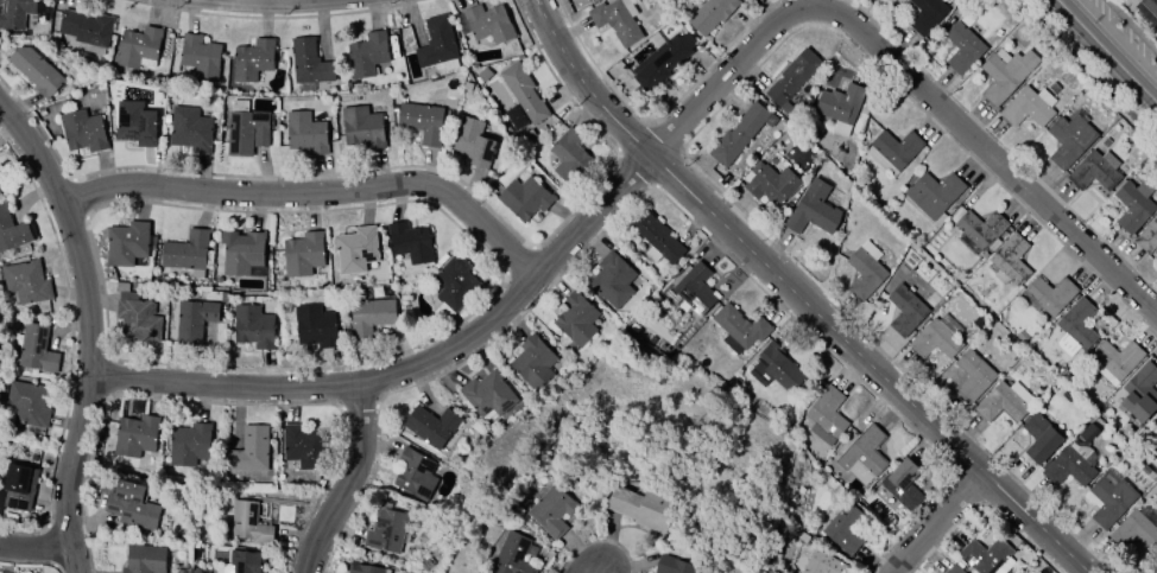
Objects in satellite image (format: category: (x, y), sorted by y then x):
building: (1147, 8)
building: (14, 13)
building: (710, 14)
building: (925, 14)
building: (617, 20)
building: (486, 23)
building: (86, 30)
building: (437, 45)
building: (135, 46)
road: (1111, 46)
building: (962, 47)
building: (367, 53)
building: (197, 58)
building: (252, 61)
building: (662, 61)
building: (308, 63)
building: (36, 71)
building: (1004, 74)
building: (792, 78)
building: (523, 93)
building: (840, 107)
building: (1028, 107)
building: (422, 121)
building: (135, 123)
building: (361, 127)
building: (190, 129)
building: (82, 130)
building: (247, 132)
building: (304, 133)
building: (738, 134)
building: (1069, 140)
building: (473, 144)
building: (892, 151)
building: (568, 157)
road: (997, 164)
building: (1094, 171)
building: (771, 183)
road: (317, 190)
building: (932, 193)
building: (524, 198)
building: (1132, 205)
building: (813, 209)
building: (979, 228)
building: (12, 231)
building: (1147, 236)
building: (655, 237)
building: (410, 242)
building: (127, 243)
building: (355, 249)
building: (185, 252)
building: (241, 252)
building: (302, 254)
building: (1010, 261)
building: (865, 270)
building: (612, 280)
building: (25, 281)
building: (451, 287)
building: (694, 288)
building: (1047, 295)
road: (796, 297)
road: (510, 300)
building: (904, 310)
building: (135, 317)
building: (368, 318)
building: (575, 318)
building: (194, 320)
building: (253, 326)
building: (315, 326)
road: (88, 327)
building: (1075, 327)
building: (738, 329)
building: (934, 339)
building: (33, 349)
building: (1117, 358)
building: (532, 362)
building: (775, 368)
building: (972, 375)
building: (1140, 391)
building: (487, 394)
building: (1004, 402)
building: (25, 405)
building: (826, 415)
building: (1156, 418)
building: (430, 426)
building: (1156, 431)
building: (1088, 432)
building: (135, 435)
building: (1041, 438)
building: (188, 444)
building: (304, 446)
building: (249, 448)
building: (862, 456)
building: (1067, 467)
building: (413, 471)
road: (352, 482)
building: (903, 484)
building: (18, 486)
building: (1108, 501)
building: (132, 505)
building: (643, 508)
building: (551, 510)
building: (248, 523)
road: (938, 523)
building: (842, 529)
building: (385, 530)
building: (1133, 531)
road: (33, 545)
building: (1156, 552)
building: (511, 555)
building: (986, 555)
building: (144, 559)
building: (245, 561)
building: (822, 564)
building: (672, 565)
building: (365, 568)
building: (954, 569)
road: (598, 571)

